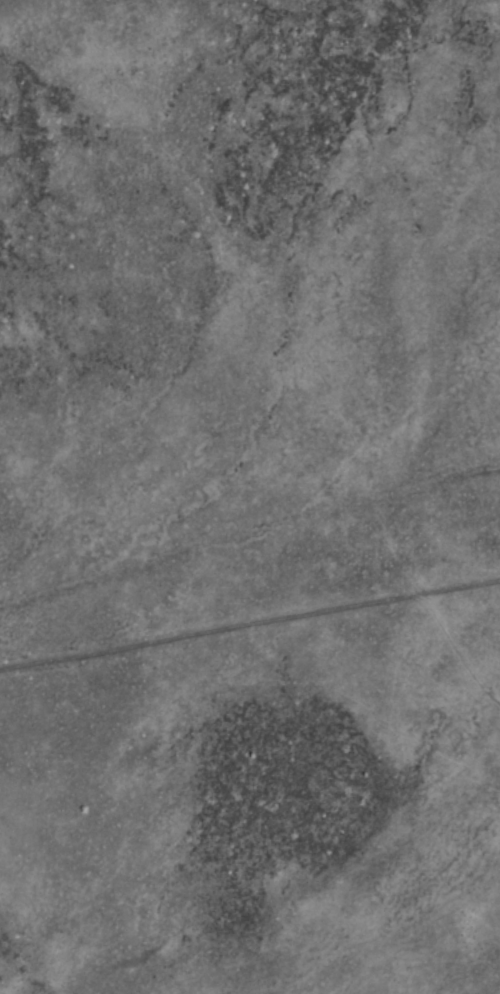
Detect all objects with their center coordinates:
road: (249, 621)

